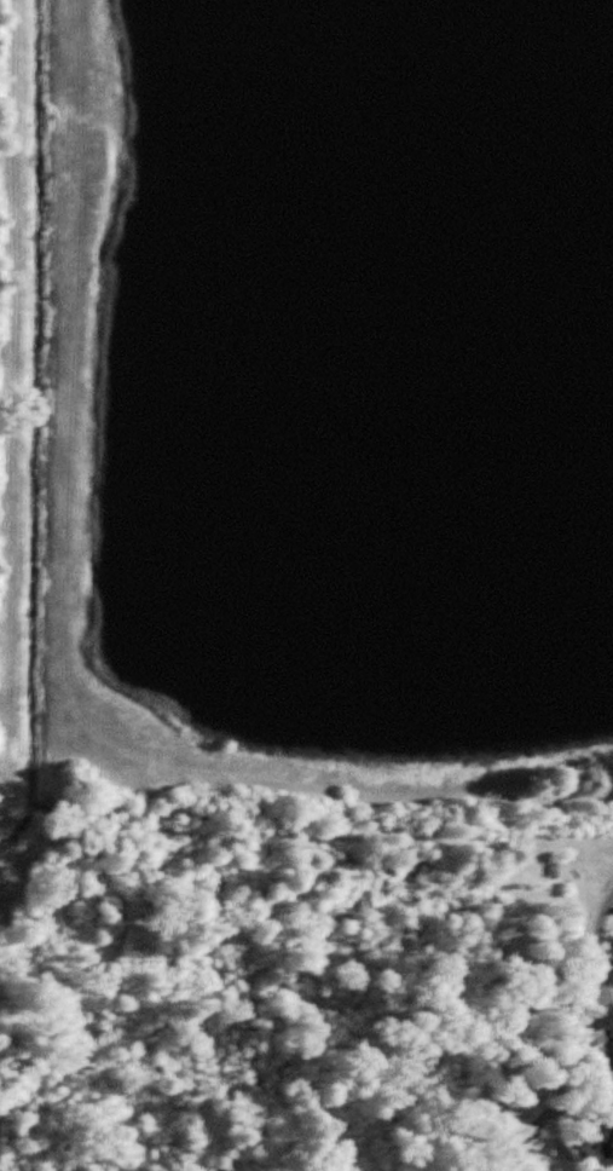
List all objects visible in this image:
building: (592, 1136)

